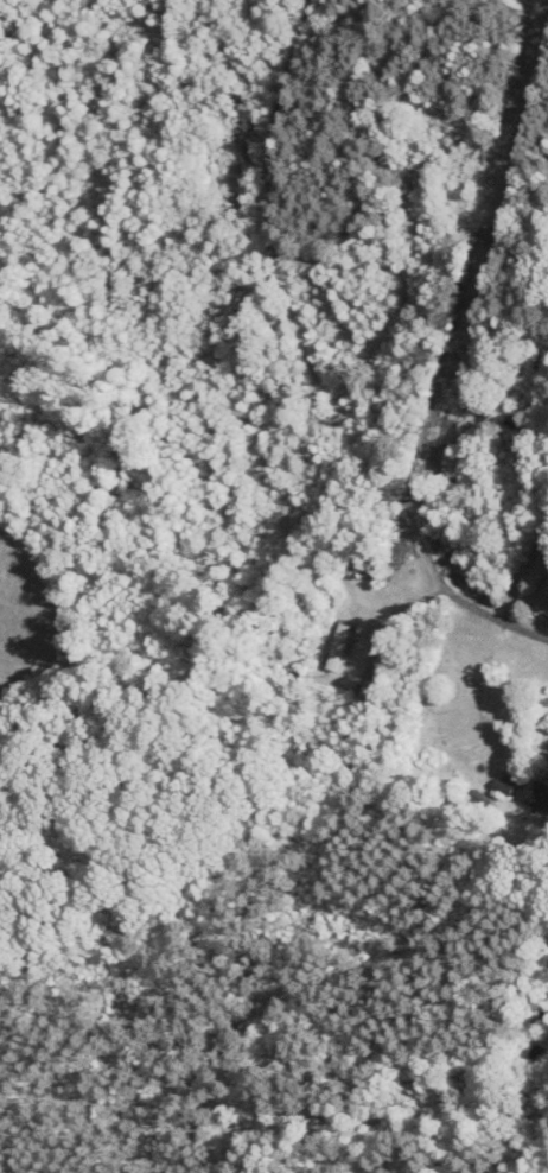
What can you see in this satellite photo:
road: (313, 361)
building: (512, 417)
building: (477, 462)
building: (457, 484)
building: (369, 571)
building: (543, 603)
building: (340, 642)
building: (505, 788)
building: (534, 795)

